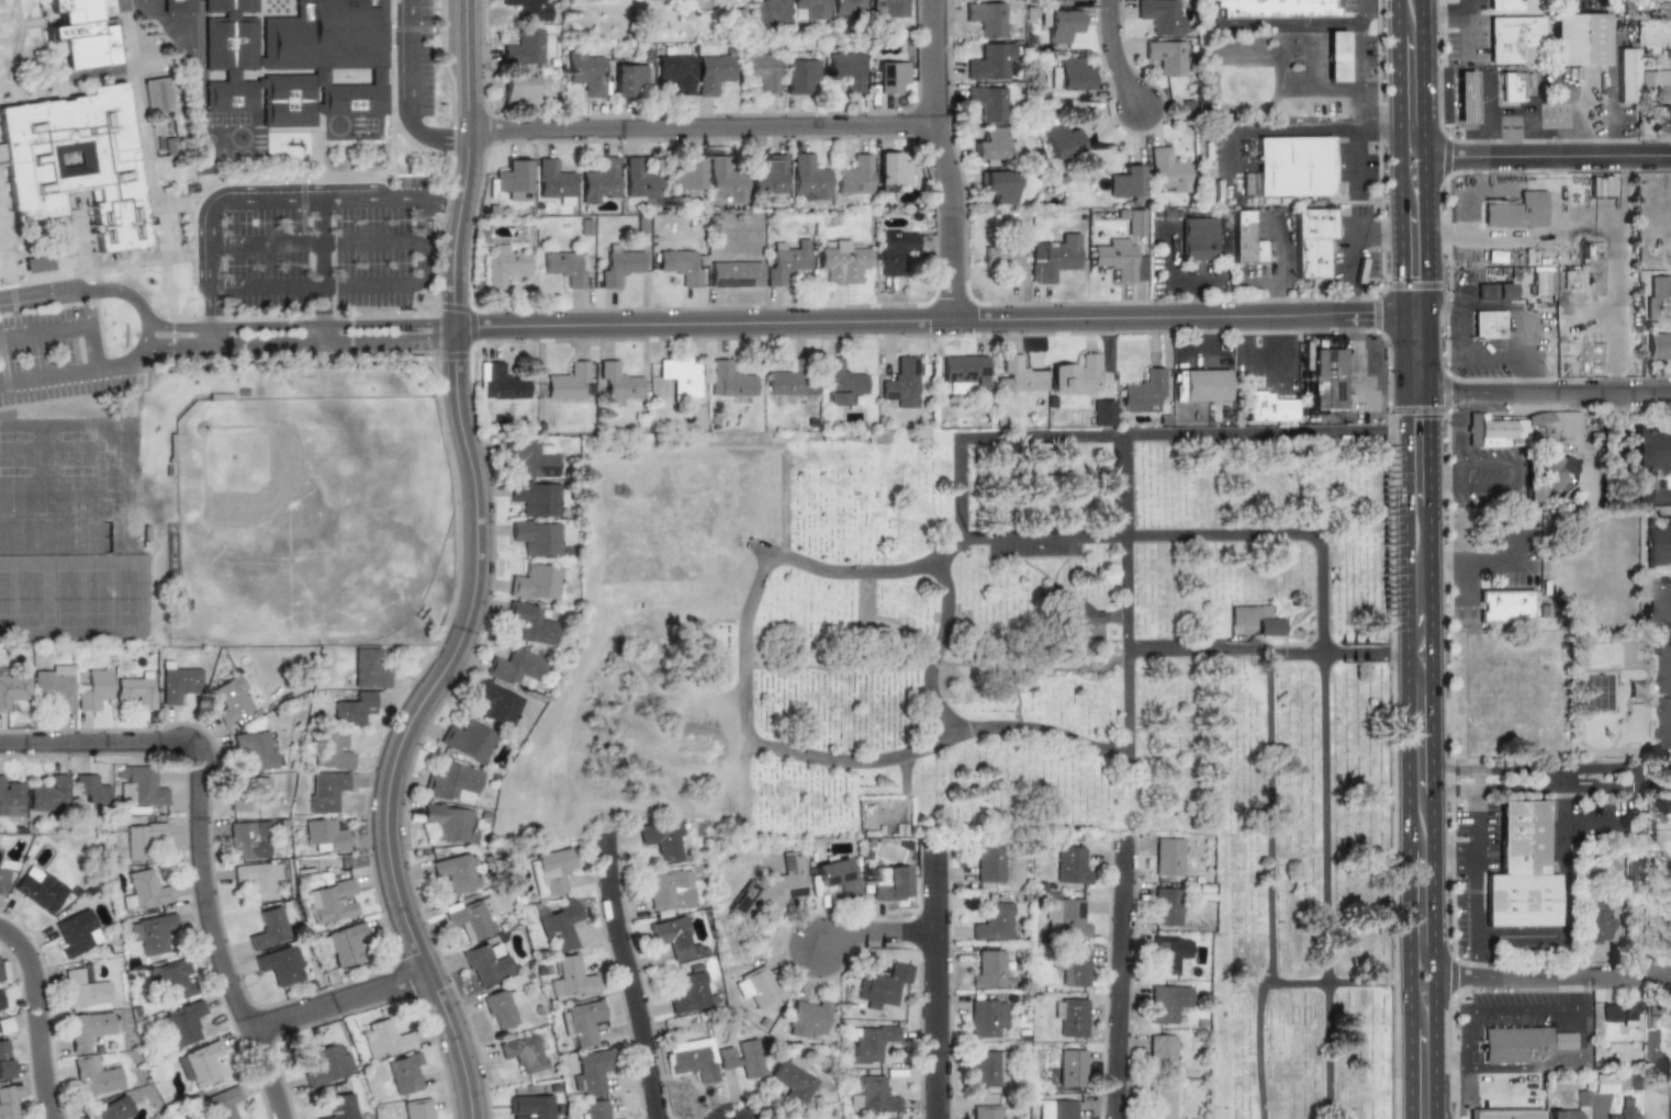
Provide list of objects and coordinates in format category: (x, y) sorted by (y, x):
building: (653, 0)
building: (1061, 0)
road: (124, 3)
road: (1395, 3)
building: (1501, 4)
road: (1421, 5)
building: (846, 7)
building: (811, 8)
building: (888, 8)
building: (1277, 8)
building: (527, 9)
road: (1364, 11)
road: (1209, 12)
road: (1443, 12)
building: (766, 13)
building: (1159, 15)
building: (984, 18)
road: (1286, 23)
building: (1059, 24)
road: (1463, 26)
building: (79, 33)
building: (1578, 38)
building: (1514, 39)
building: (522, 46)
building: (1165, 56)
road: (410, 57)
building: (1335, 57)
building: (295, 59)
building: (989, 61)
road: (1108, 63)
road: (1397, 64)
building: (844, 70)
building: (711, 71)
building: (759, 71)
building: (585, 72)
building: (672, 72)
building: (796, 72)
building: (889, 76)
building: (1069, 76)
building: (1626, 76)
building: (626, 78)
road: (1409, 81)
road: (1423, 82)
building: (1657, 83)
building: (517, 90)
building: (1509, 90)
building: (157, 92)
building: (1463, 97)
building: (985, 102)
road: (1375, 124)
road: (1255, 126)
road: (433, 135)
road: (698, 135)
building: (1059, 139)
road: (1399, 139)
building: (989, 144)
road: (1546, 154)
building: (1214, 159)
building: (75, 160)
road: (932, 162)
road: (1353, 162)
building: (1293, 167)
building: (891, 170)
building: (1167, 170)
building: (685, 174)
building: (854, 174)
building: (769, 176)
building: (808, 177)
building: (513, 179)
building: (638, 179)
building: (552, 180)
building: (598, 180)
building: (725, 180)
building: (1248, 183)
building: (1123, 184)
building: (999, 185)
road: (1399, 187)
building: (1600, 187)
road: (321, 199)
road: (440, 200)
building: (1516, 211)
road: (1557, 218)
road: (1425, 229)
building: (1198, 238)
parking lot: (318, 239)
building: (1244, 239)
road: (1495, 239)
road: (211, 240)
building: (1311, 240)
road: (316, 241)
road: (420, 241)
road: (1350, 246)
building: (895, 250)
building: (1121, 250)
building: (1034, 259)
building: (843, 261)
road: (1400, 261)
building: (36, 263)
building: (785, 263)
building: (679, 265)
building: (504, 267)
building: (617, 267)
building: (564, 268)
road: (321, 271)
road: (1170, 272)
road: (1620, 273)
building: (733, 274)
building: (1540, 283)
road: (315, 286)
building: (1493, 292)
building: (1655, 295)
road: (1272, 305)
road: (1413, 306)
road: (1517, 306)
road: (1426, 313)
road: (1401, 315)
road: (211, 316)
road: (217, 324)
road: (1353, 324)
road: (1379, 324)
building: (1488, 324)
road: (898, 325)
road: (144, 331)
road: (43, 334)
road: (279, 343)
building: (1656, 344)
road: (91, 348)
parking lot: (46, 357)
road: (1257, 358)
road: (1427, 358)
road: (1403, 360)
road: (1373, 370)
building: (964, 371)
road: (57, 374)
building: (1076, 375)
building: (681, 377)
building: (1017, 377)
building: (1327, 378)
building: (729, 380)
building: (567, 381)
building: (790, 381)
building: (841, 381)
building: (617, 382)
building: (901, 382)
building: (501, 384)
building: (1200, 385)
building: (1142, 391)
road: (1561, 395)
road: (1416, 396)
road: (1440, 396)
parking lot: (0, 404)
road: (1611, 406)
building: (1268, 407)
building: (1102, 412)
road: (1405, 414)
building: (1496, 432)
building: (1650, 450)
road: (1428, 451)
building: (530, 457)
road: (1453, 468)
road: (1617, 481)
building: (536, 497)
building: (1660, 512)
park: (304, 516)
road: (967, 533)
building: (535, 536)
building: (1657, 543)
road: (763, 569)
road: (473, 576)
building: (536, 581)
road: (1487, 581)
park: (31, 598)
park: (65, 598)
park: (97, 598)
park: (130, 598)
park: (7, 599)
road: (1463, 602)
building: (1659, 603)
building: (1505, 606)
road: (1408, 608)
building: (1241, 615)
road: (1417, 619)
building: (1268, 621)
building: (532, 622)
building: (1085, 623)
road: (1429, 648)
road: (1198, 652)
road: (1270, 656)
building: (367, 668)
building: (516, 668)
park: (1014, 680)
building: (54, 683)
building: (179, 683)
building: (137, 687)
building: (13, 688)
building: (94, 689)
building: (1663, 697)
building: (233, 700)
building: (494, 702)
building: (354, 709)
road: (1418, 724)
building: (468, 741)
road: (930, 743)
road: (1087, 746)
building: (255, 747)
building: (332, 751)
road: (859, 759)
road: (1550, 781)
building: (455, 783)
building: (141, 785)
building: (324, 791)
building: (247, 792)
building: (89, 793)
building: (47, 794)
building: (10, 798)
road: (1659, 810)
building: (447, 822)
road: (1594, 824)
building: (325, 835)
building: (138, 838)
building: (245, 839)
road: (199, 840)
building: (663, 840)
building: (1168, 857)
road: (1453, 857)
building: (988, 863)
building: (0, 864)
building: (1072, 864)
building: (1521, 870)
building: (550, 871)
building: (457, 872)
building: (834, 872)
road: (1565, 878)
building: (258, 879)
road: (1409, 881)
road: (1476, 881)
building: (4, 883)
building: (887, 883)
building: (40, 890)
building: (144, 890)
building: (670, 890)
building: (769, 891)
road: (1431, 891)
building: (329, 901)
building: (1166, 904)
road: (1420, 906)
building: (1066, 915)
building: (471, 917)
building: (994, 922)
building: (1594, 923)
building: (559, 924)
building: (269, 928)
building: (75, 933)
building: (149, 934)
road: (1522, 936)
building: (672, 937)
road: (870, 941)
building: (343, 943)
building: (1169, 951)
building: (486, 963)
building: (281, 964)
building: (1074, 965)
building: (989, 970)
road: (621, 975)
road: (1551, 976)
building: (171, 977)
building: (571, 980)
road: (1114, 980)
building: (882, 983)
road: (930, 983)
building: (756, 986)
building: (83, 987)
road: (1578, 992)
building: (689, 993)
building: (1, 1001)
road: (336, 1002)
building: (1168, 1002)
road: (1495, 1006)
building: (500, 1007)
building: (1611, 1011)
building: (1634, 1014)
building: (1072, 1017)
building: (807, 1018)
building: (986, 1018)
road: (1327, 1018)
road: (38, 1020)
building: (581, 1021)
building: (180, 1024)
building: (5, 1026)
building: (87, 1029)
building: (384, 1040)
building: (864, 1043)
building: (1521, 1043)
building: (1655, 1047)
road: (1409, 1049)
building: (524, 1052)
building: (1160, 1052)
road: (1434, 1054)
building: (739, 1058)
building: (693, 1059)
building: (4, 1060)
building: (197, 1063)
road: (1532, 1064)
building: (328, 1065)
building: (985, 1066)
road: (1421, 1066)
building: (1072, 1067)
building: (591, 1072)
building: (405, 1074)
building: (96, 1078)
building: (792, 1082)
building: (1603, 1083)
building: (873, 1095)
building: (1582, 1098)
building: (1162, 1100)
building: (222, 1103)
building: (7, 1104)
building: (529, 1107)
building: (339, 1108)
building: (112, 1109)
building: (417, 1109)
building: (592, 1109)
building: (1056, 1109)
building: (984, 1112)
building: (1504, 1114)
building: (1562, 1114)
building: (1624, 1114)

